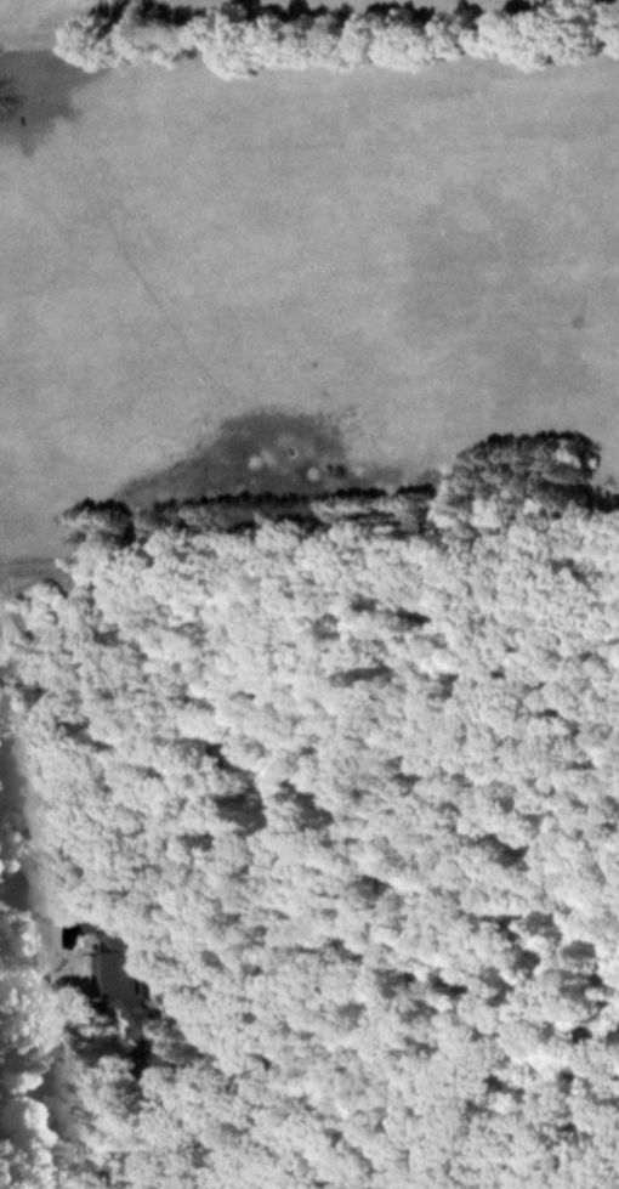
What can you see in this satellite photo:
building: (121, 964)
road: (391, 1105)
road: (481, 1184)
road: (476, 1187)

